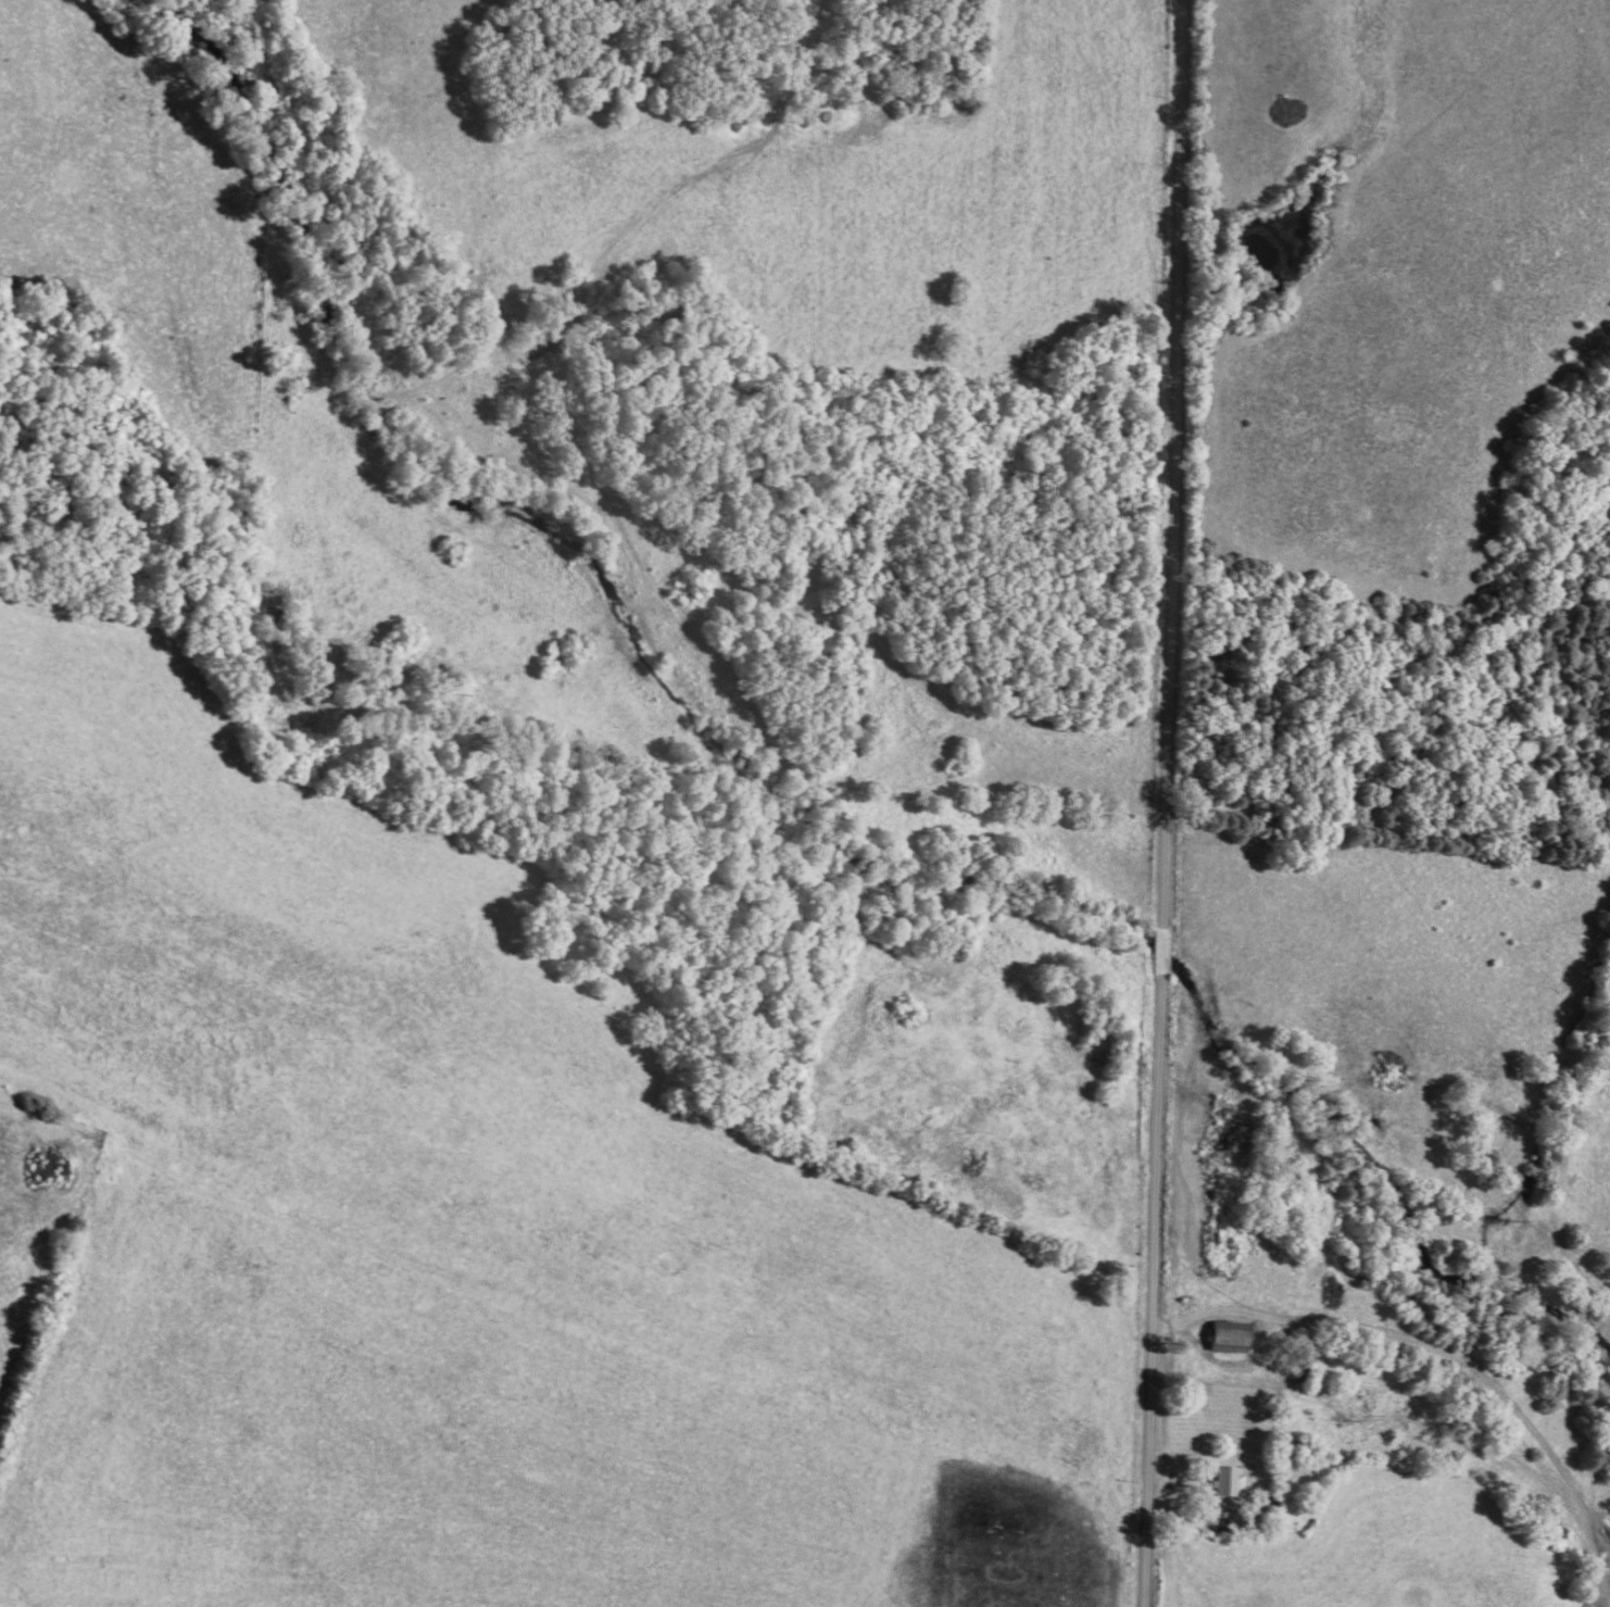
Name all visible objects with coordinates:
road: (1165, 803)
building: (1225, 1336)
building: (1222, 1482)

